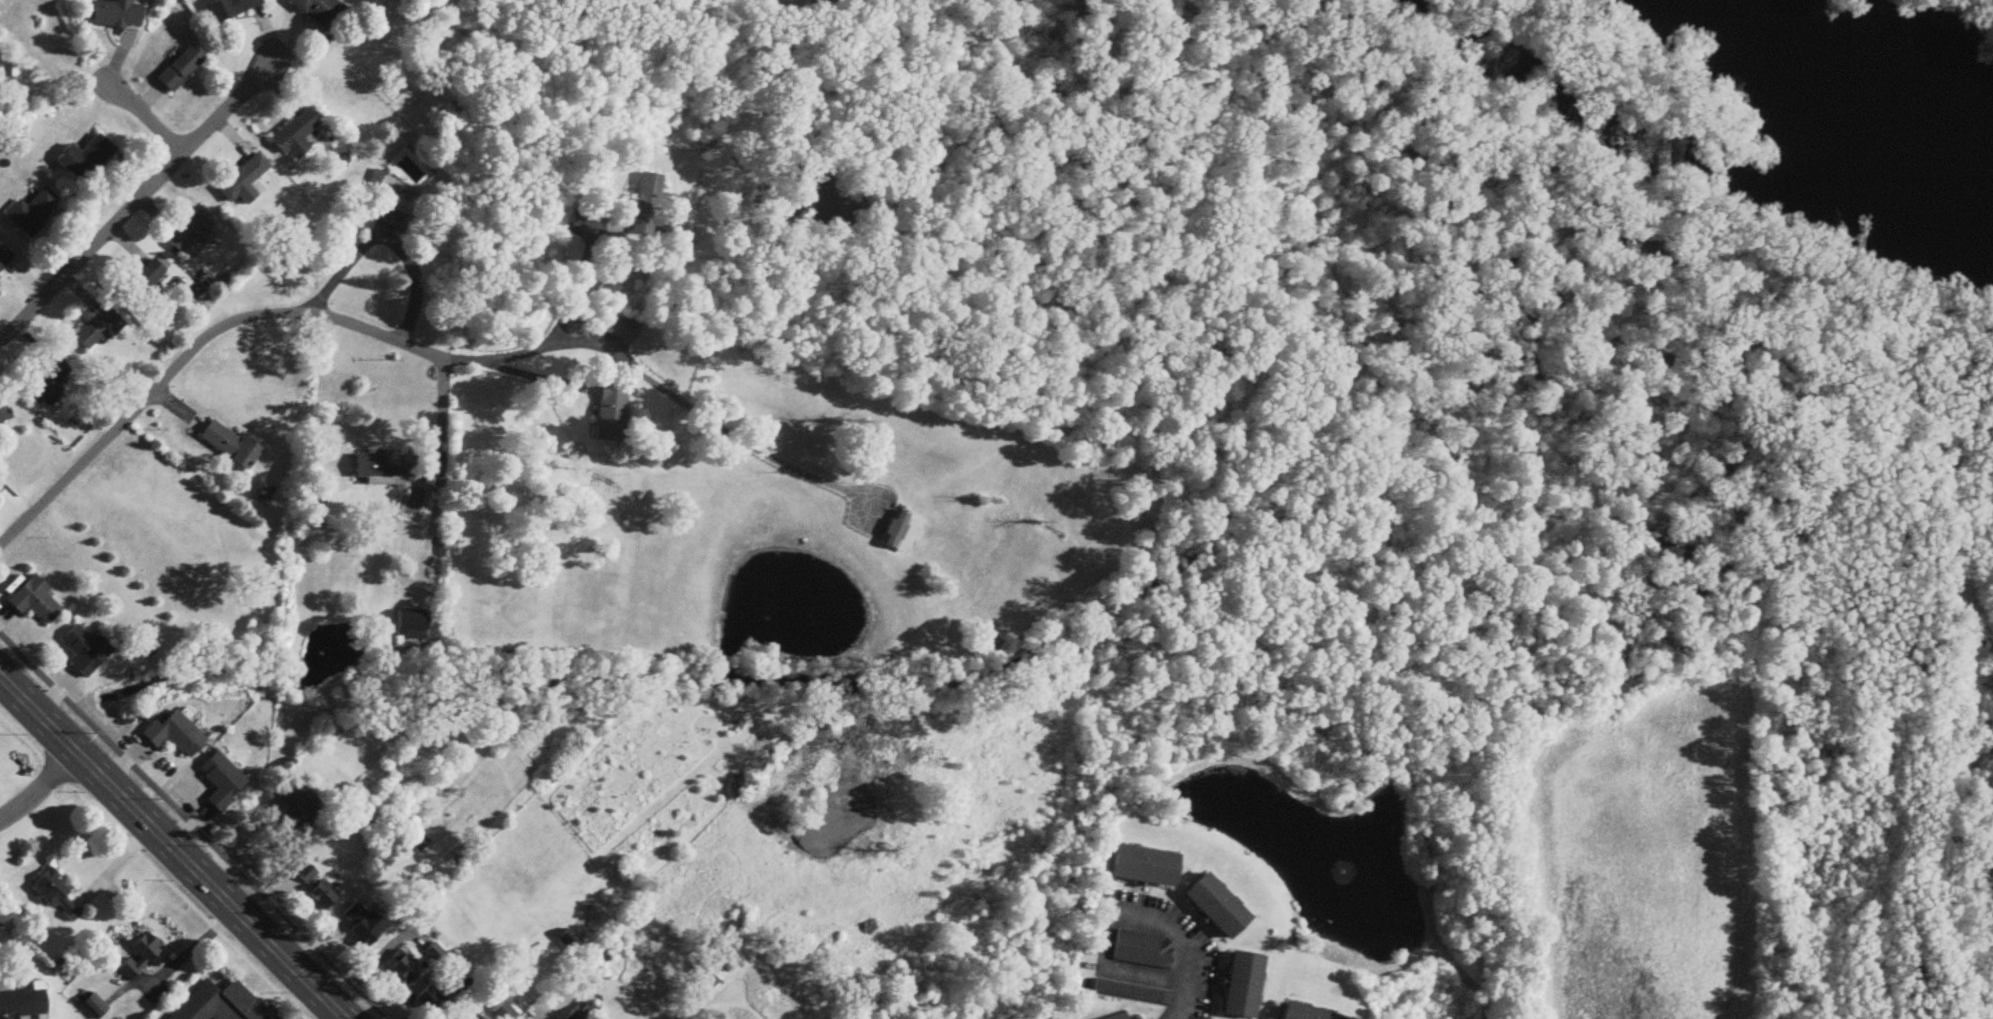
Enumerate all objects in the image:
building: (231, 8)
building: (320, 12)
park: (769, 13)
building: (116, 15)
building: (433, 37)
building: (181, 69)
river: (1855, 83)
building: (296, 132)
road: (179, 153)
building: (87, 160)
building: (244, 182)
road: (135, 199)
building: (33, 212)
building: (389, 212)
building: (192, 231)
road: (385, 242)
building: (4, 258)
building: (143, 281)
road: (588, 292)
building: (620, 328)
building: (98, 330)
road: (412, 346)
building: (47, 385)
building: (4, 413)
building: (612, 414)
road: (442, 416)
building: (230, 446)
building: (385, 468)
building: (900, 532)
building: (35, 602)
building: (414, 627)
building: (86, 651)
building: (175, 736)
building: (222, 782)
road: (40, 789)
building: (299, 810)
road: (185, 834)
road: (238, 839)
building: (420, 845)
road: (172, 848)
park: (1640, 853)
road: (156, 863)
building: (1141, 864)
building: (307, 874)
building: (57, 896)
building: (323, 896)
building: (1213, 902)
road: (1112, 915)
building: (363, 925)
building: (1142, 945)
parking lot: (1152, 951)
building: (1088, 959)
building: (139, 961)
building: (594, 968)
building: (404, 969)
building: (711, 971)
building: (1241, 985)
building: (1129, 990)
road: (718, 991)
building: (19, 1000)
building: (429, 1000)
road: (1183, 1001)
building: (220, 1004)
building: (94, 1008)
building: (583, 1012)
building: (1299, 1012)
building: (504, 1013)
building: (1115, 1014)
building: (4, 1016)
building: (1049, 1016)
building: (461, 1018)

